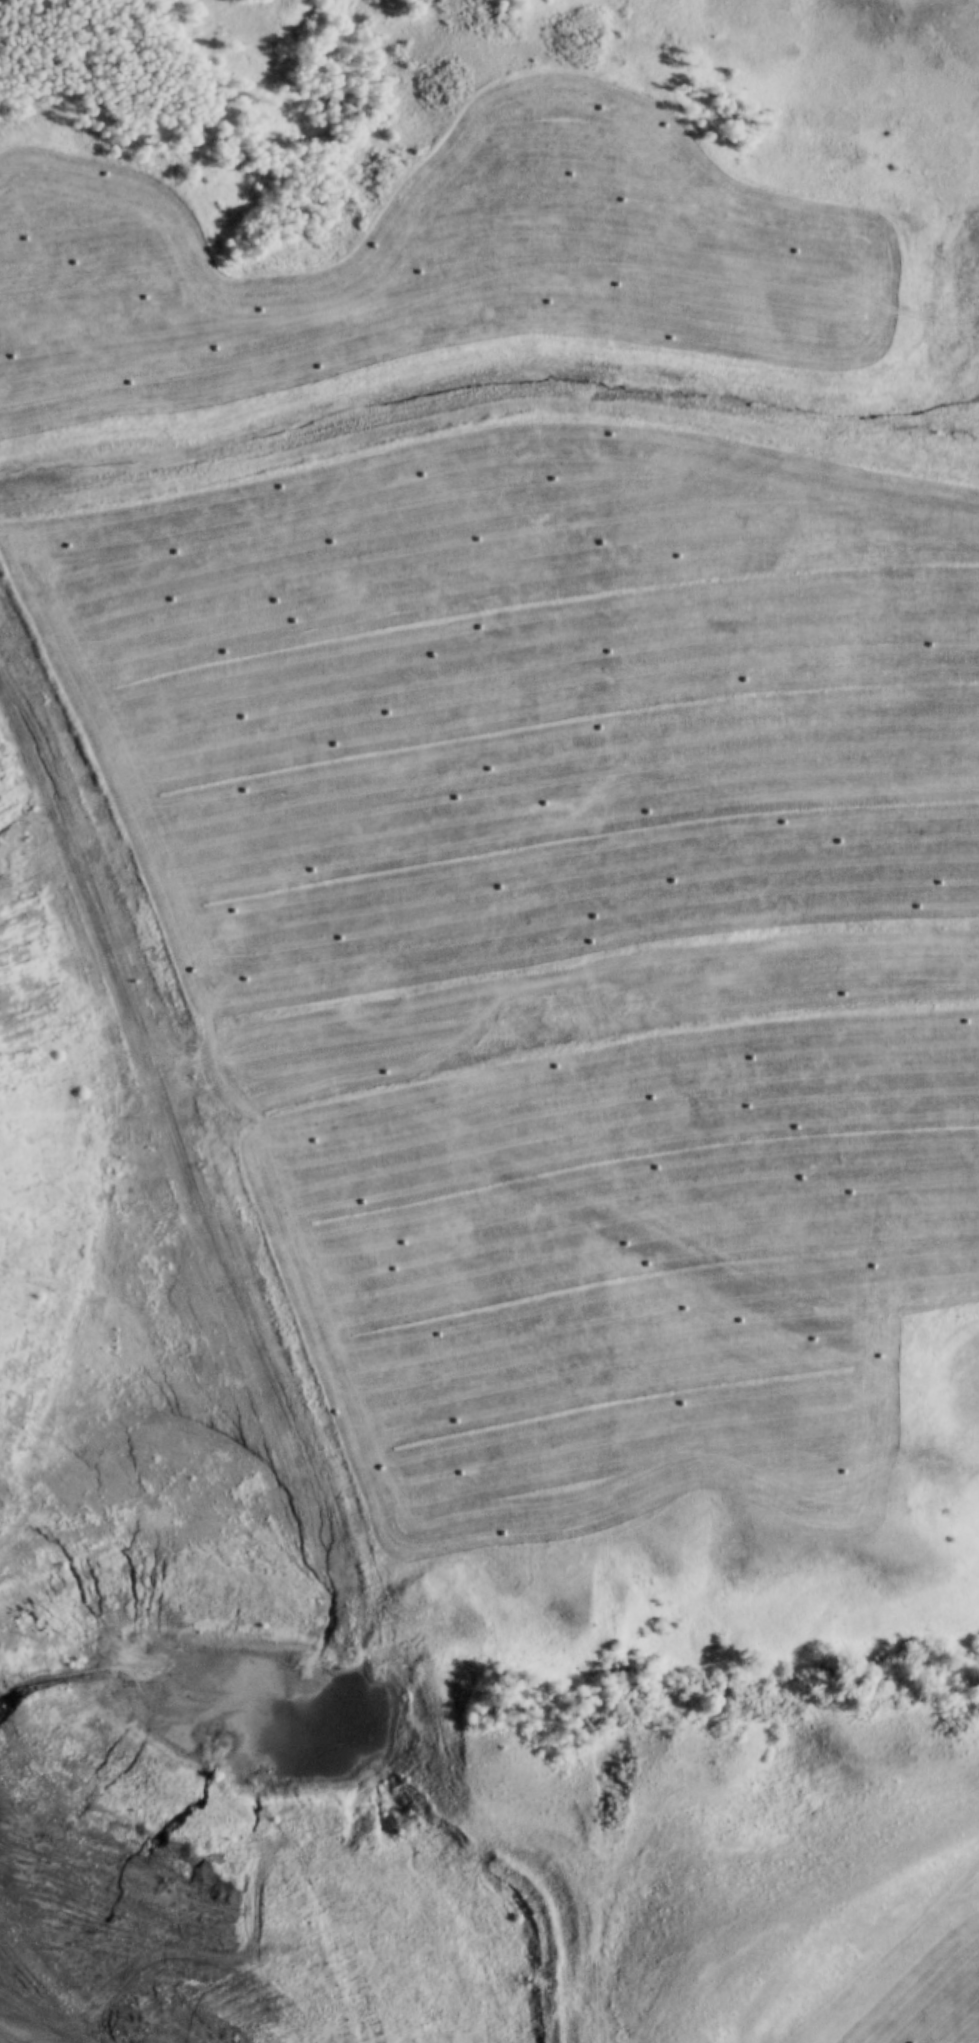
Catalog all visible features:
quarry: (445, 996)

